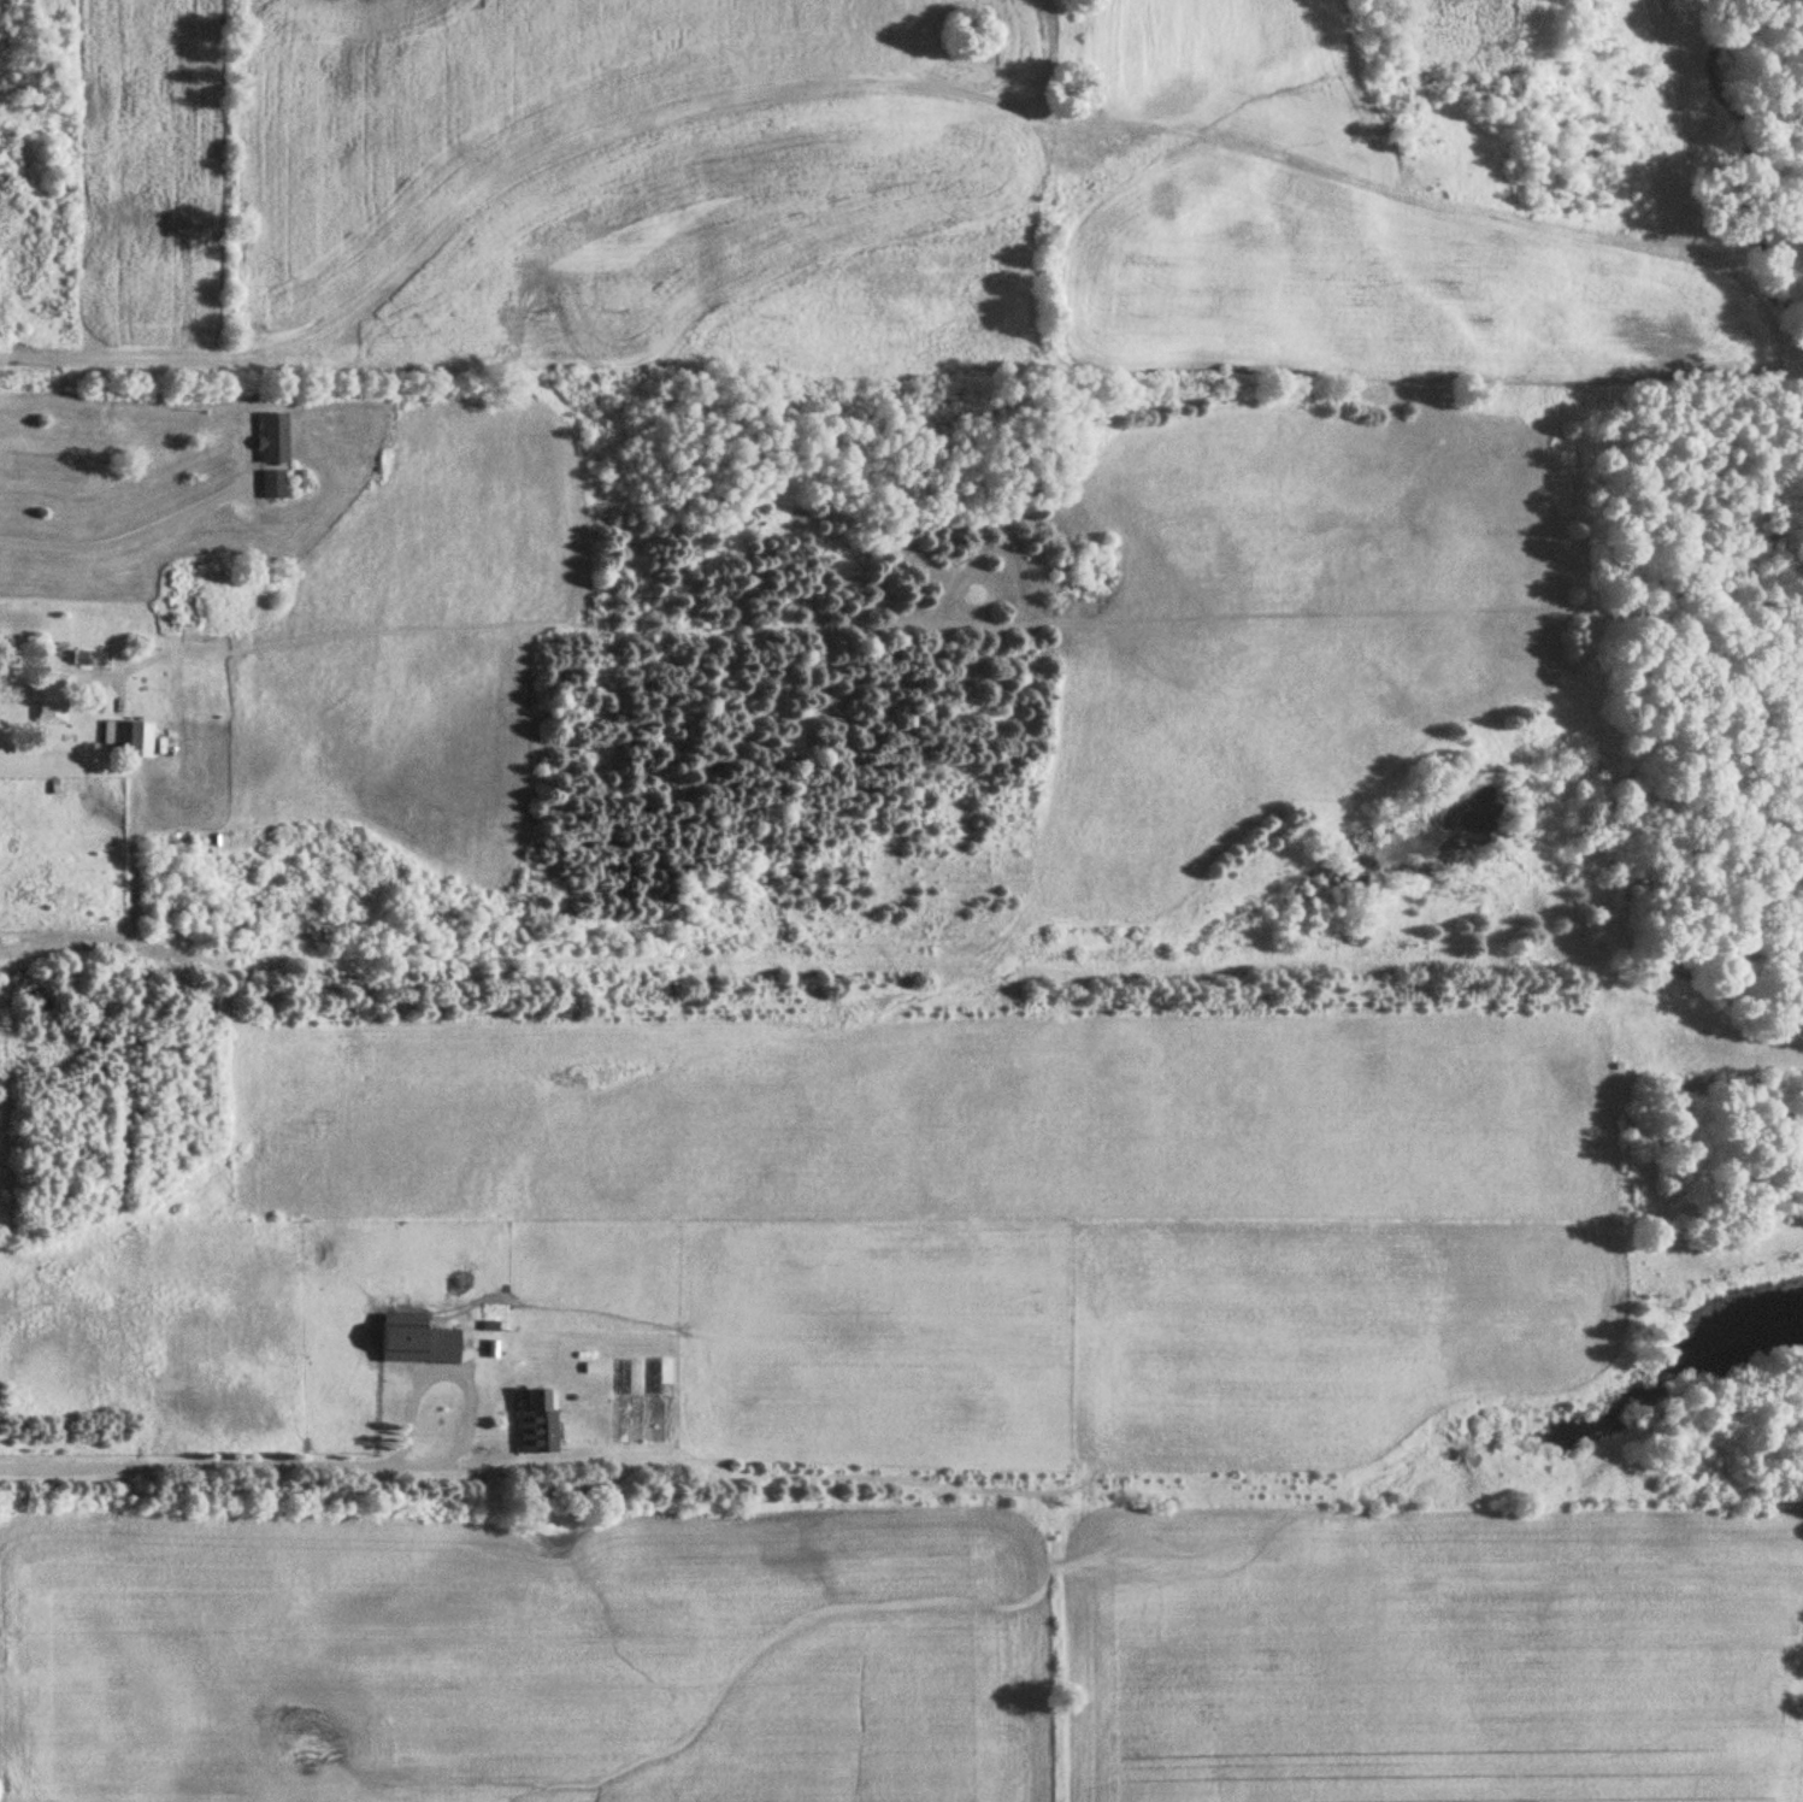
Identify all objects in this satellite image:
building: (271, 436)
building: (272, 483)
road: (131, 535)
road: (58, 665)
road: (89, 687)
building: (51, 693)
building: (129, 737)
building: (437, 1345)
road: (466, 1383)
building: (535, 1431)
road: (195, 1465)

